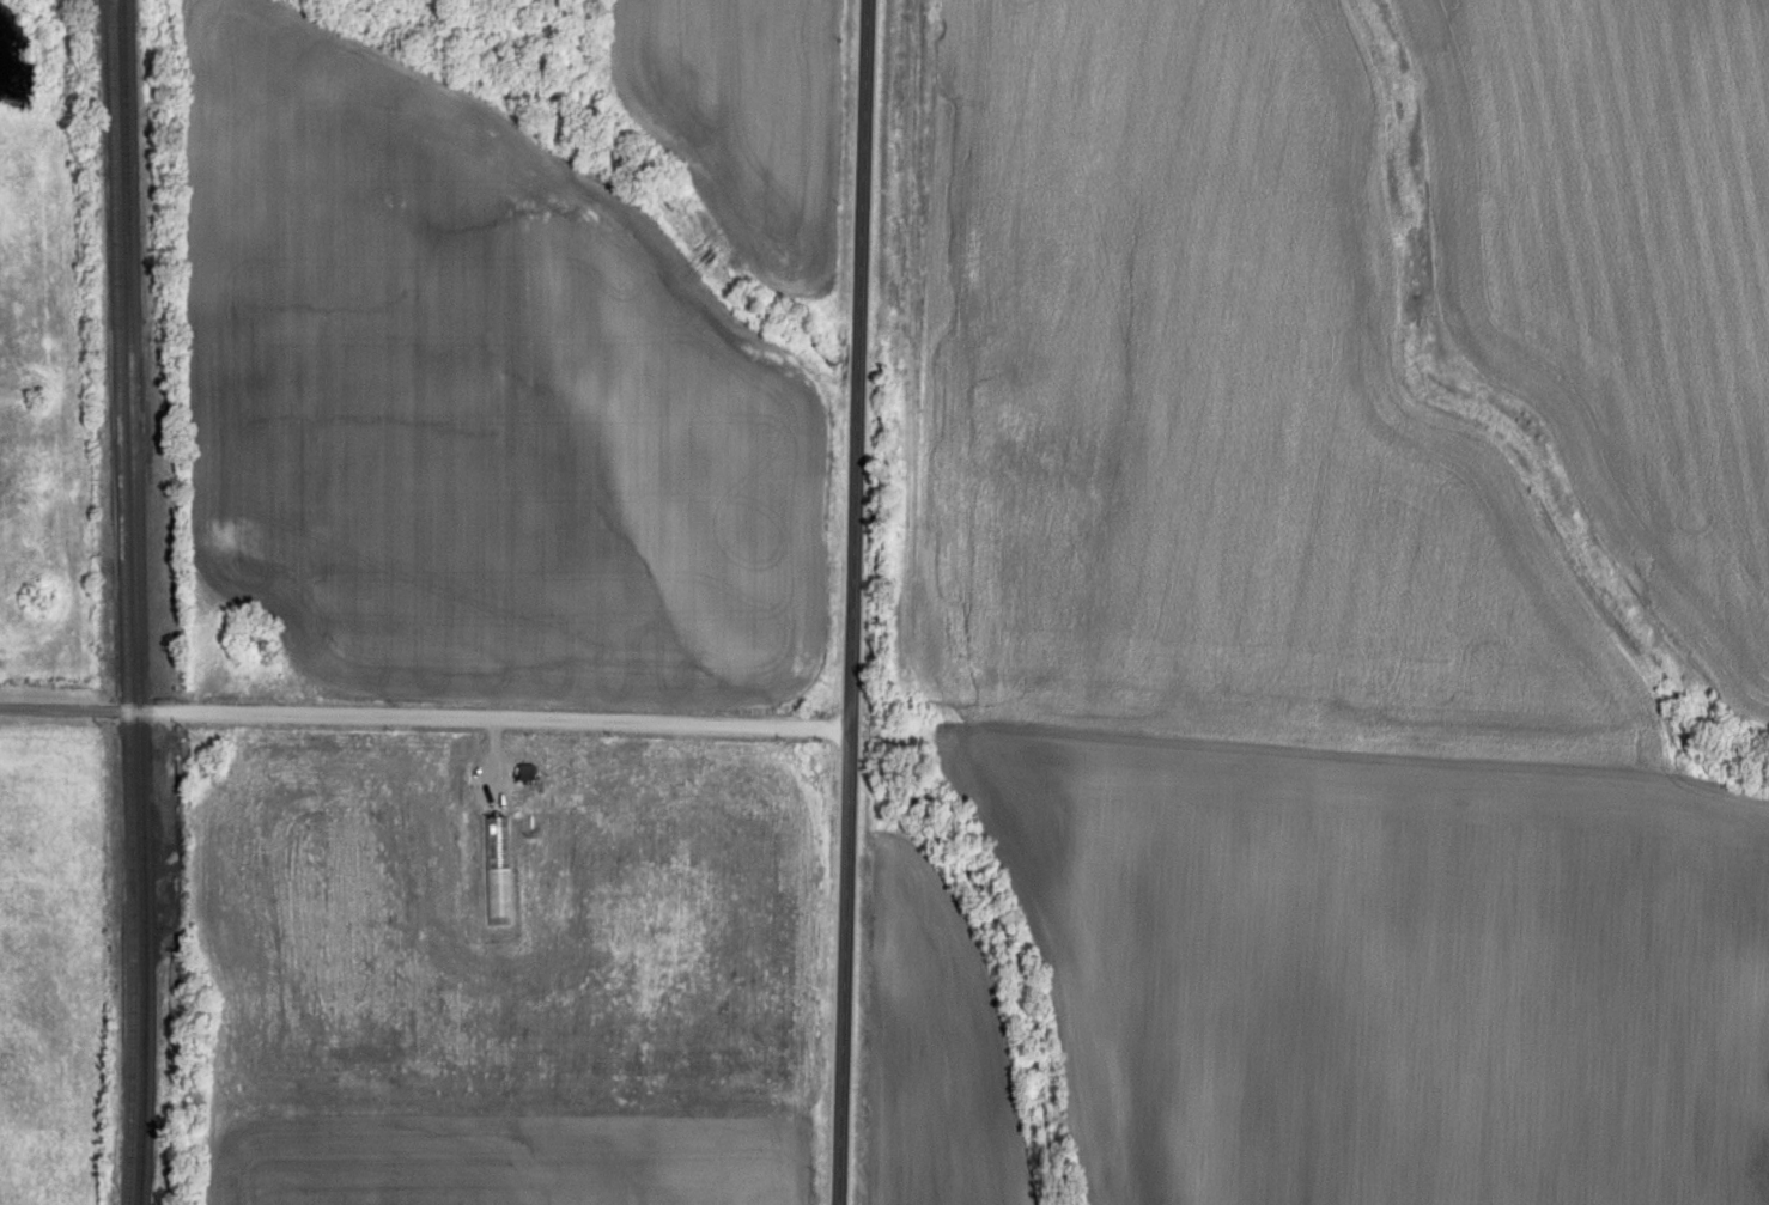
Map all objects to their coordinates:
railway: (122, 602)
railway: (135, 602)
road: (853, 602)
road: (424, 719)

